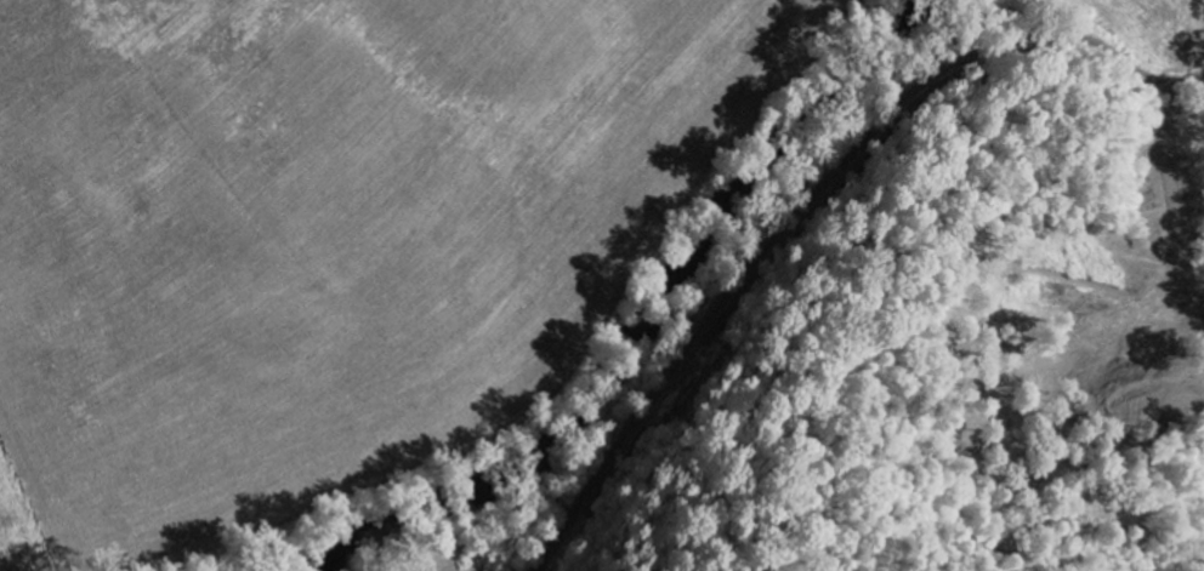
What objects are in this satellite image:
road: (1155, 88)
road: (811, 205)
river: (640, 325)

